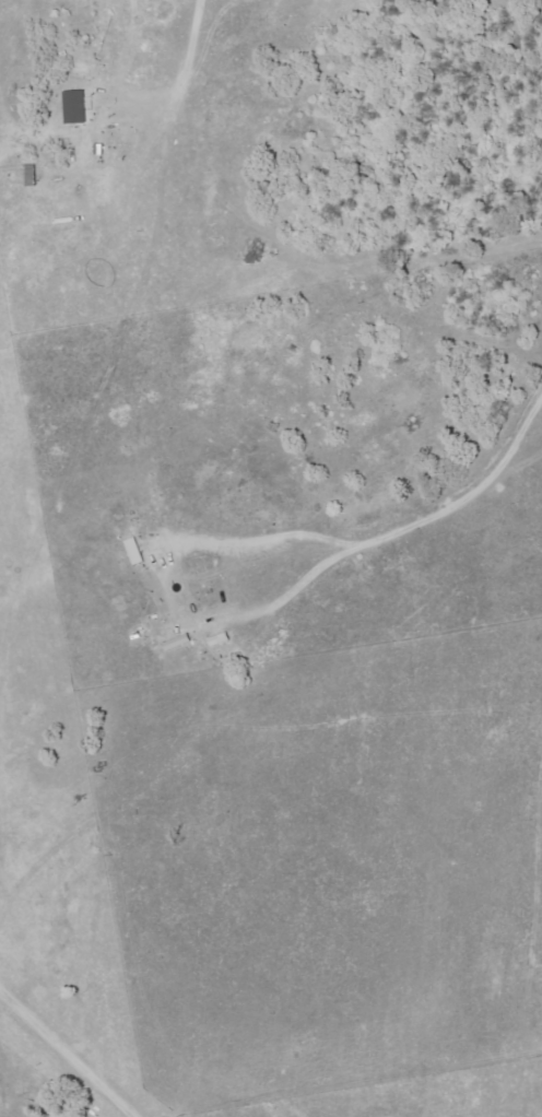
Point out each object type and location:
building: (78, 106)
building: (137, 550)

